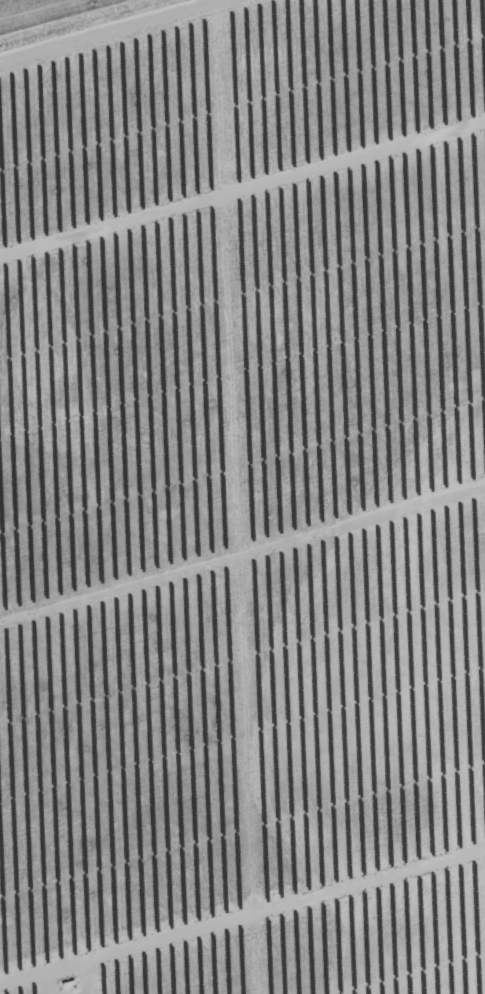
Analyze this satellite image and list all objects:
solar farm: (244, 501)

